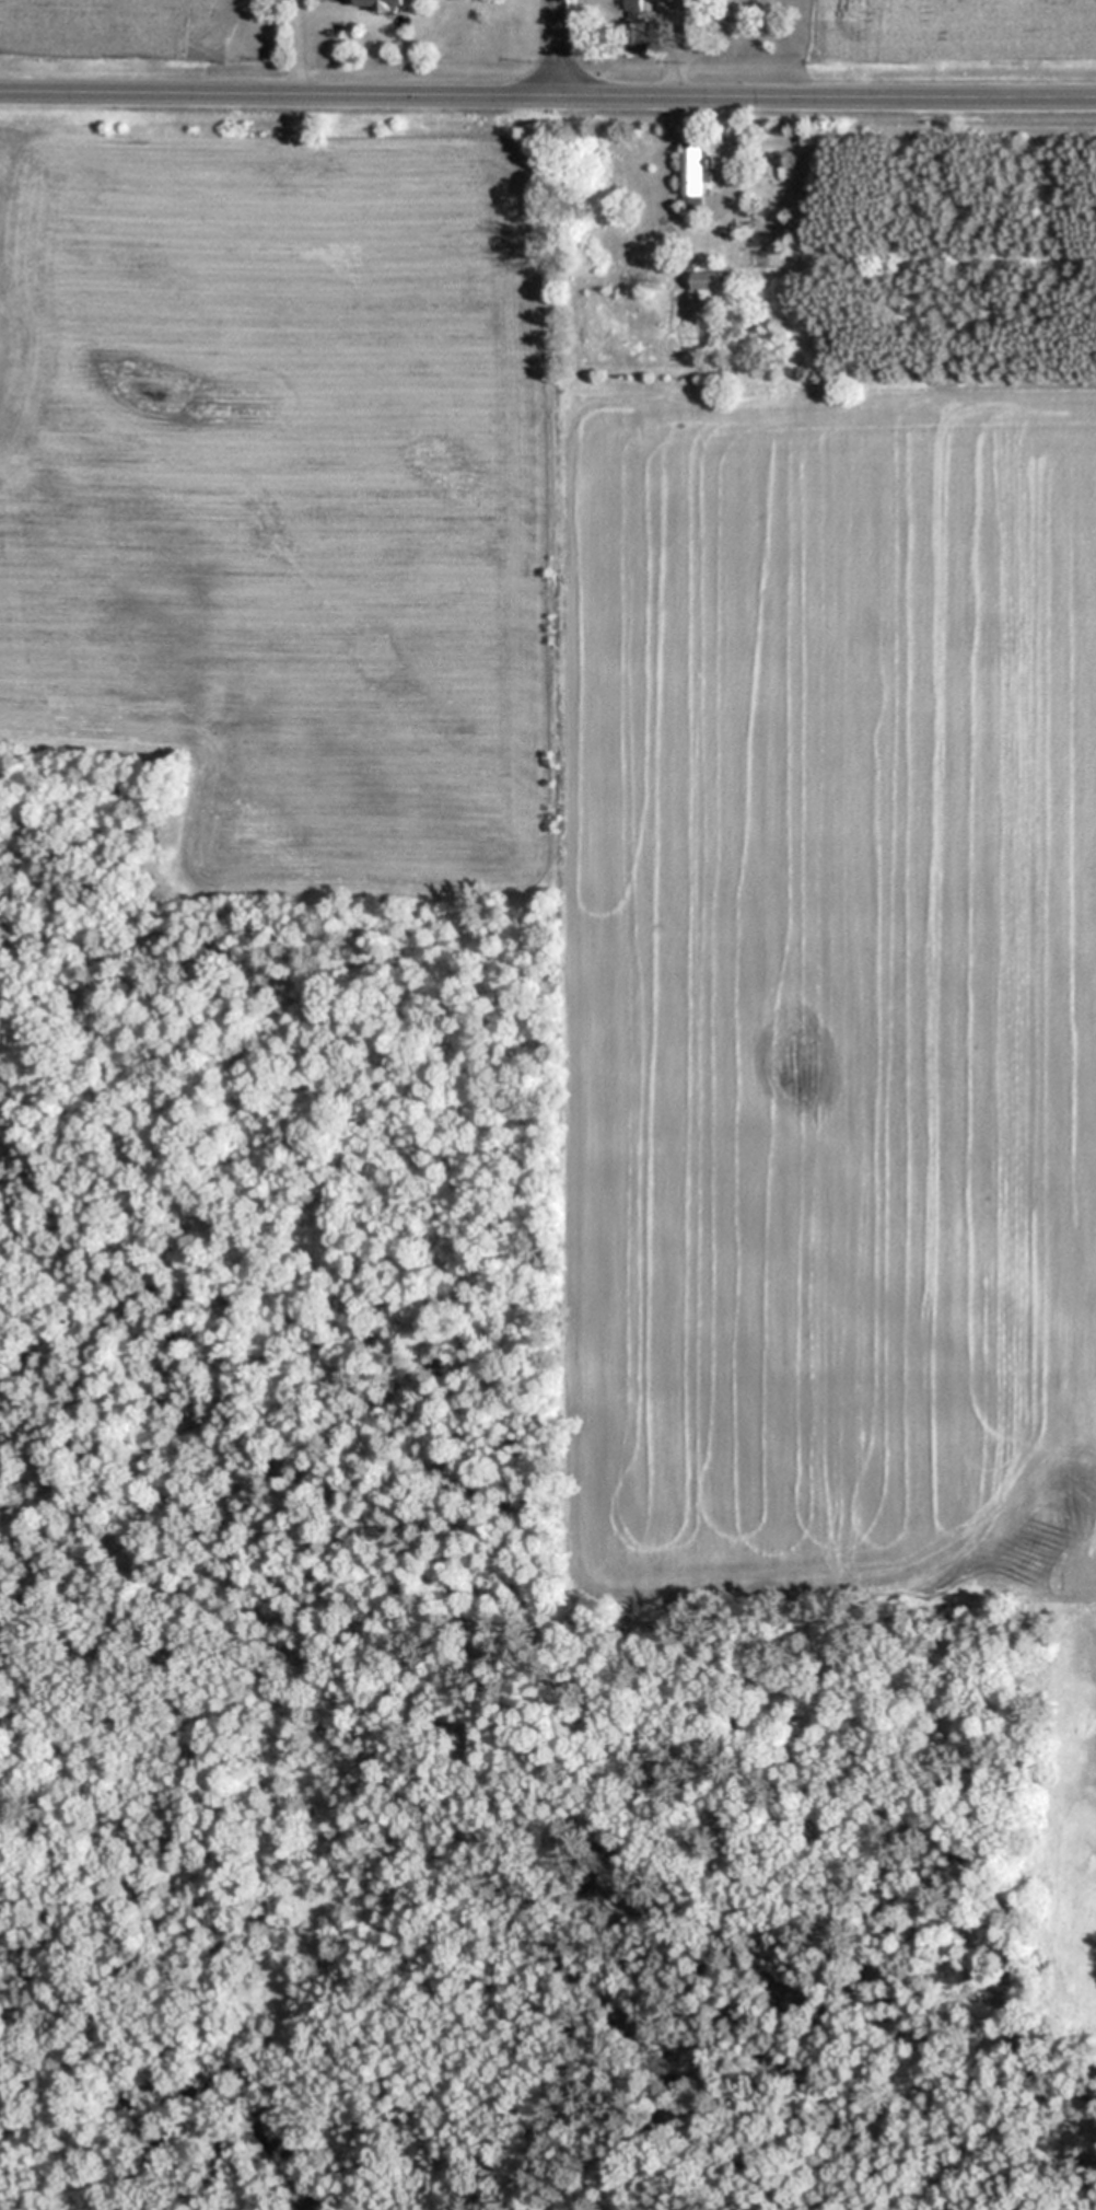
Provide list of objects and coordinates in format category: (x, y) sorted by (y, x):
building: (381, 3)
building: (633, 4)
building: (636, 32)
road: (300, 45)
road: (552, 46)
road: (547, 92)
road: (675, 97)
building: (691, 176)
building: (706, 282)

